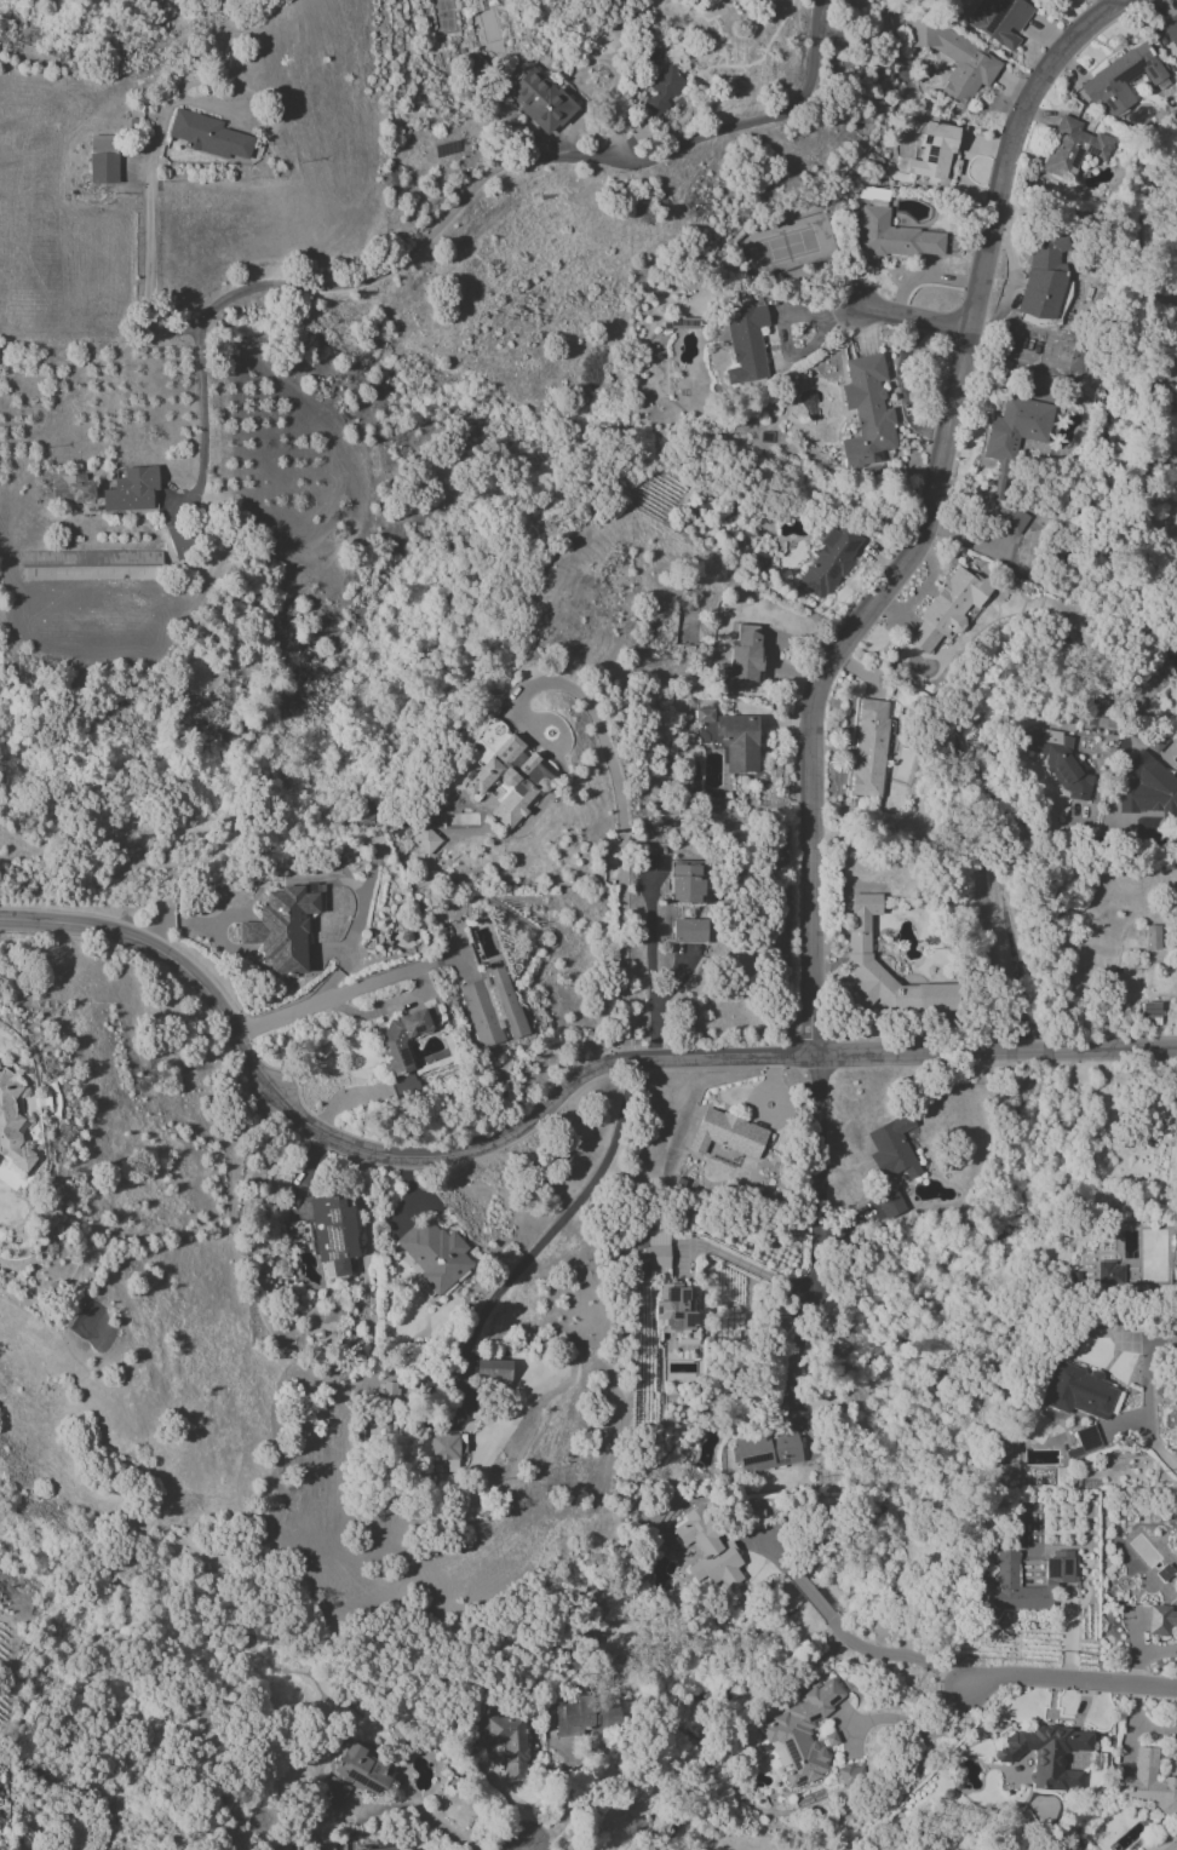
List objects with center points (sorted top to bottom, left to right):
building: (1000, 21)
building: (1171, 29)
building: (955, 61)
road: (613, 70)
building: (1121, 79)
building: (665, 87)
building: (541, 99)
building: (207, 136)
building: (1072, 146)
building: (935, 155)
building: (102, 160)
road: (446, 219)
building: (895, 236)
building: (1041, 278)
road: (909, 318)
road: (781, 328)
building: (746, 345)
road: (905, 386)
building: (866, 412)
road: (201, 425)
building: (1015, 430)
building: (70, 488)
building: (132, 490)
building: (1009, 518)
road: (928, 519)
building: (180, 540)
building: (828, 561)
building: (91, 565)
building: (947, 609)
building: (743, 655)
building: (705, 714)
building: (739, 742)
building: (1156, 742)
building: (869, 748)
building: (1058, 762)
building: (509, 779)
building: (1148, 788)
road: (619, 814)
building: (425, 840)
road: (1129, 844)
building: (684, 883)
building: (283, 926)
road: (357, 927)
building: (689, 931)
building: (1150, 937)
building: (857, 947)
road: (438, 960)
road: (650, 970)
road: (328, 996)
building: (492, 1009)
building: (1149, 1010)
building: (401, 1039)
road: (993, 1050)
building: (12, 1124)
building: (727, 1133)
building: (892, 1149)
road: (371, 1155)
road: (815, 1174)
building: (889, 1202)
road: (564, 1217)
building: (332, 1233)
building: (653, 1252)
building: (434, 1254)
building: (1175, 1256)
road: (752, 1269)
building: (1109, 1274)
road: (800, 1350)
building: (493, 1371)
building: (1076, 1391)
building: (1086, 1438)
building: (440, 1448)
road: (1155, 1448)
building: (767, 1450)
building: (753, 1519)
road: (767, 1544)
building: (708, 1552)
building: (1176, 1586)
road: (810, 1593)
building: (1015, 1598)
building: (1160, 1621)
road: (896, 1655)
road: (1070, 1682)
building: (586, 1714)
road: (913, 1727)
building: (802, 1734)
building: (829, 1740)
building: (503, 1741)
building: (1049, 1754)
building: (355, 1775)
building: (1153, 1793)
road: (417, 1810)
building: (380, 1849)

